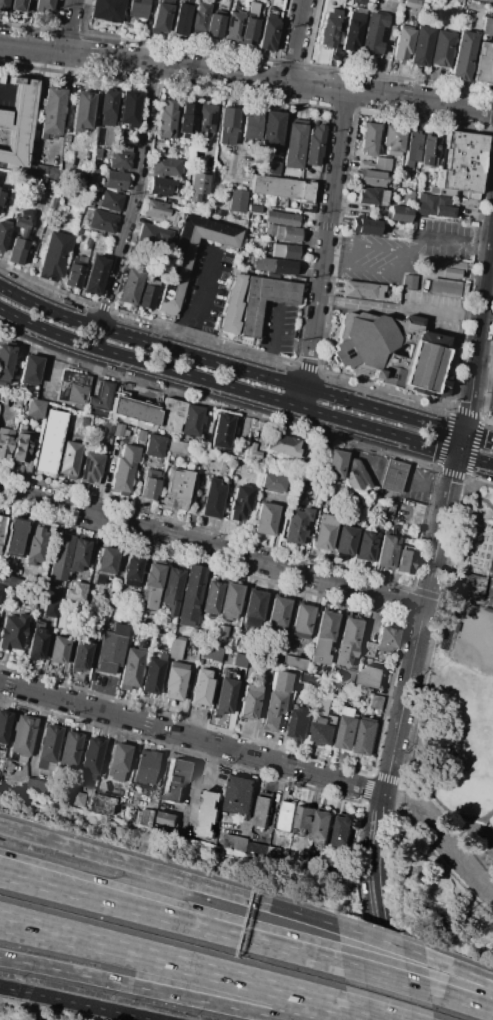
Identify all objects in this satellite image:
building: (3, 4)
building: (43, 5)
building: (411, 5)
building: (16, 6)
building: (253, 7)
building: (137, 8)
building: (334, 10)
building: (107, 11)
building: (271, 11)
building: (160, 16)
building: (181, 18)
building: (197, 21)
building: (214, 24)
road: (67, 26)
building: (232, 26)
building: (487, 27)
building: (353, 30)
building: (247, 31)
building: (328, 31)
building: (267, 34)
building: (372, 34)
road: (294, 40)
building: (402, 43)
building: (338, 45)
building: (422, 46)
building: (441, 48)
building: (462, 56)
building: (484, 65)
road: (246, 75)
road: (6, 91)
building: (107, 102)
building: (129, 109)
building: (51, 111)
building: (81, 111)
building: (187, 118)
building: (204, 119)
building: (166, 120)
building: (19, 122)
building: (252, 123)
building: (227, 126)
building: (272, 130)
building: (33, 135)
building: (66, 139)
building: (369, 139)
building: (393, 140)
building: (314, 145)
building: (294, 146)
building: (412, 146)
building: (122, 147)
building: (429, 150)
building: (97, 153)
building: (120, 160)
building: (381, 163)
building: (363, 164)
building: (462, 164)
building: (165, 166)
building: (0, 177)
building: (371, 178)
building: (78, 179)
building: (115, 180)
building: (2, 181)
building: (36, 184)
building: (50, 185)
building: (161, 187)
building: (196, 187)
building: (283, 188)
building: (433, 190)
building: (1, 194)
building: (371, 196)
road: (136, 197)
building: (407, 197)
building: (112, 200)
building: (237, 200)
building: (265, 201)
building: (89, 203)
building: (54, 204)
building: (434, 206)
building: (254, 209)
building: (312, 210)
building: (159, 211)
building: (88, 213)
building: (400, 214)
building: (281, 218)
building: (102, 221)
building: (71, 223)
building: (83, 223)
building: (365, 226)
building: (57, 228)
building: (78, 232)
building: (284, 233)
building: (3, 234)
building: (154, 234)
road: (326, 238)
building: (18, 239)
road: (446, 239)
building: (88, 242)
building: (286, 251)
building: (54, 256)
building: (190, 257)
road: (341, 265)
building: (273, 266)
building: (444, 268)
building: (76, 272)
building: (95, 275)
building: (409, 281)
building: (129, 287)
building: (444, 288)
building: (365, 290)
building: (146, 297)
road: (198, 303)
road: (408, 305)
building: (232, 306)
building: (414, 320)
building: (250, 321)
road: (479, 333)
road: (96, 338)
building: (434, 338)
road: (273, 341)
road: (485, 349)
building: (387, 352)
building: (5, 362)
road: (228, 365)
road: (46, 366)
building: (30, 369)
building: (443, 380)
road: (483, 380)
road: (226, 386)
building: (73, 388)
road: (303, 397)
building: (19, 399)
building: (101, 400)
road: (492, 403)
building: (35, 408)
building: (134, 412)
building: (171, 415)
building: (191, 420)
building: (108, 429)
building: (118, 430)
traffic signals: (464, 430)
building: (221, 431)
road: (478, 434)
building: (49, 441)
building: (5, 442)
road: (460, 442)
building: (21, 444)
building: (283, 445)
building: (153, 446)
building: (178, 447)
building: (251, 451)
building: (322, 455)
traffic signals: (457, 455)
building: (68, 458)
road: (474, 460)
building: (334, 464)
building: (90, 468)
building: (123, 468)
road: (398, 475)
building: (356, 477)
building: (393, 477)
road: (470, 481)
building: (272, 483)
building: (150, 485)
building: (177, 490)
building: (213, 499)
building: (240, 502)
building: (390, 511)
building: (265, 519)
building: (1, 526)
building: (295, 526)
building: (324, 531)
building: (14, 536)
building: (345, 540)
building: (365, 545)
building: (34, 547)
road: (211, 547)
building: (387, 551)
building: (78, 555)
building: (59, 557)
building: (106, 561)
building: (405, 561)
building: (131, 570)
building: (98, 579)
building: (8, 582)
building: (470, 583)
building: (152, 584)
building: (172, 587)
road: (490, 588)
building: (46, 590)
building: (75, 592)
building: (192, 592)
building: (211, 597)
building: (229, 602)
building: (51, 608)
building: (254, 608)
building: (114, 610)
building: (277, 614)
building: (134, 616)
building: (301, 621)
road: (419, 622)
building: (12, 629)
building: (221, 633)
building: (323, 637)
building: (387, 637)
building: (37, 640)
building: (348, 642)
building: (175, 647)
building: (110, 648)
building: (231, 648)
building: (368, 649)
building: (58, 651)
building: (210, 652)
building: (80, 654)
building: (239, 660)
building: (294, 662)
building: (131, 668)
building: (153, 675)
building: (372, 676)
building: (348, 677)
building: (175, 681)
building: (280, 682)
building: (334, 685)
building: (201, 689)
building: (225, 693)
building: (378, 701)
building: (249, 703)
park: (468, 709)
building: (274, 711)
park: (461, 713)
building: (301, 722)
building: (326, 723)
building: (4, 725)
building: (348, 729)
building: (367, 735)
road: (192, 736)
building: (22, 738)
building: (48, 746)
building: (70, 749)
building: (91, 759)
building: (117, 761)
building: (146, 767)
building: (176, 780)
building: (37, 786)
road: (196, 786)
building: (240, 794)
building: (79, 798)
building: (105, 803)
road: (250, 804)
building: (263, 811)
building: (209, 812)
road: (419, 814)
building: (286, 816)
building: (145, 817)
building: (166, 818)
building: (303, 819)
road: (479, 825)
building: (322, 827)
building: (343, 828)
parking lot: (456, 832)
road: (471, 840)
building: (235, 841)
building: (273, 853)
building: (311, 863)
road: (471, 864)
building: (342, 872)
road: (171, 874)
road: (108, 882)
road: (106, 899)
road: (378, 905)
road: (21, 922)
road: (21, 923)
road: (385, 941)
road: (278, 945)
road: (196, 968)
road: (461, 968)
road: (69, 972)
road: (388, 977)
road: (462, 1000)
road: (77, 1003)
road: (220, 1003)
road: (369, 1014)

